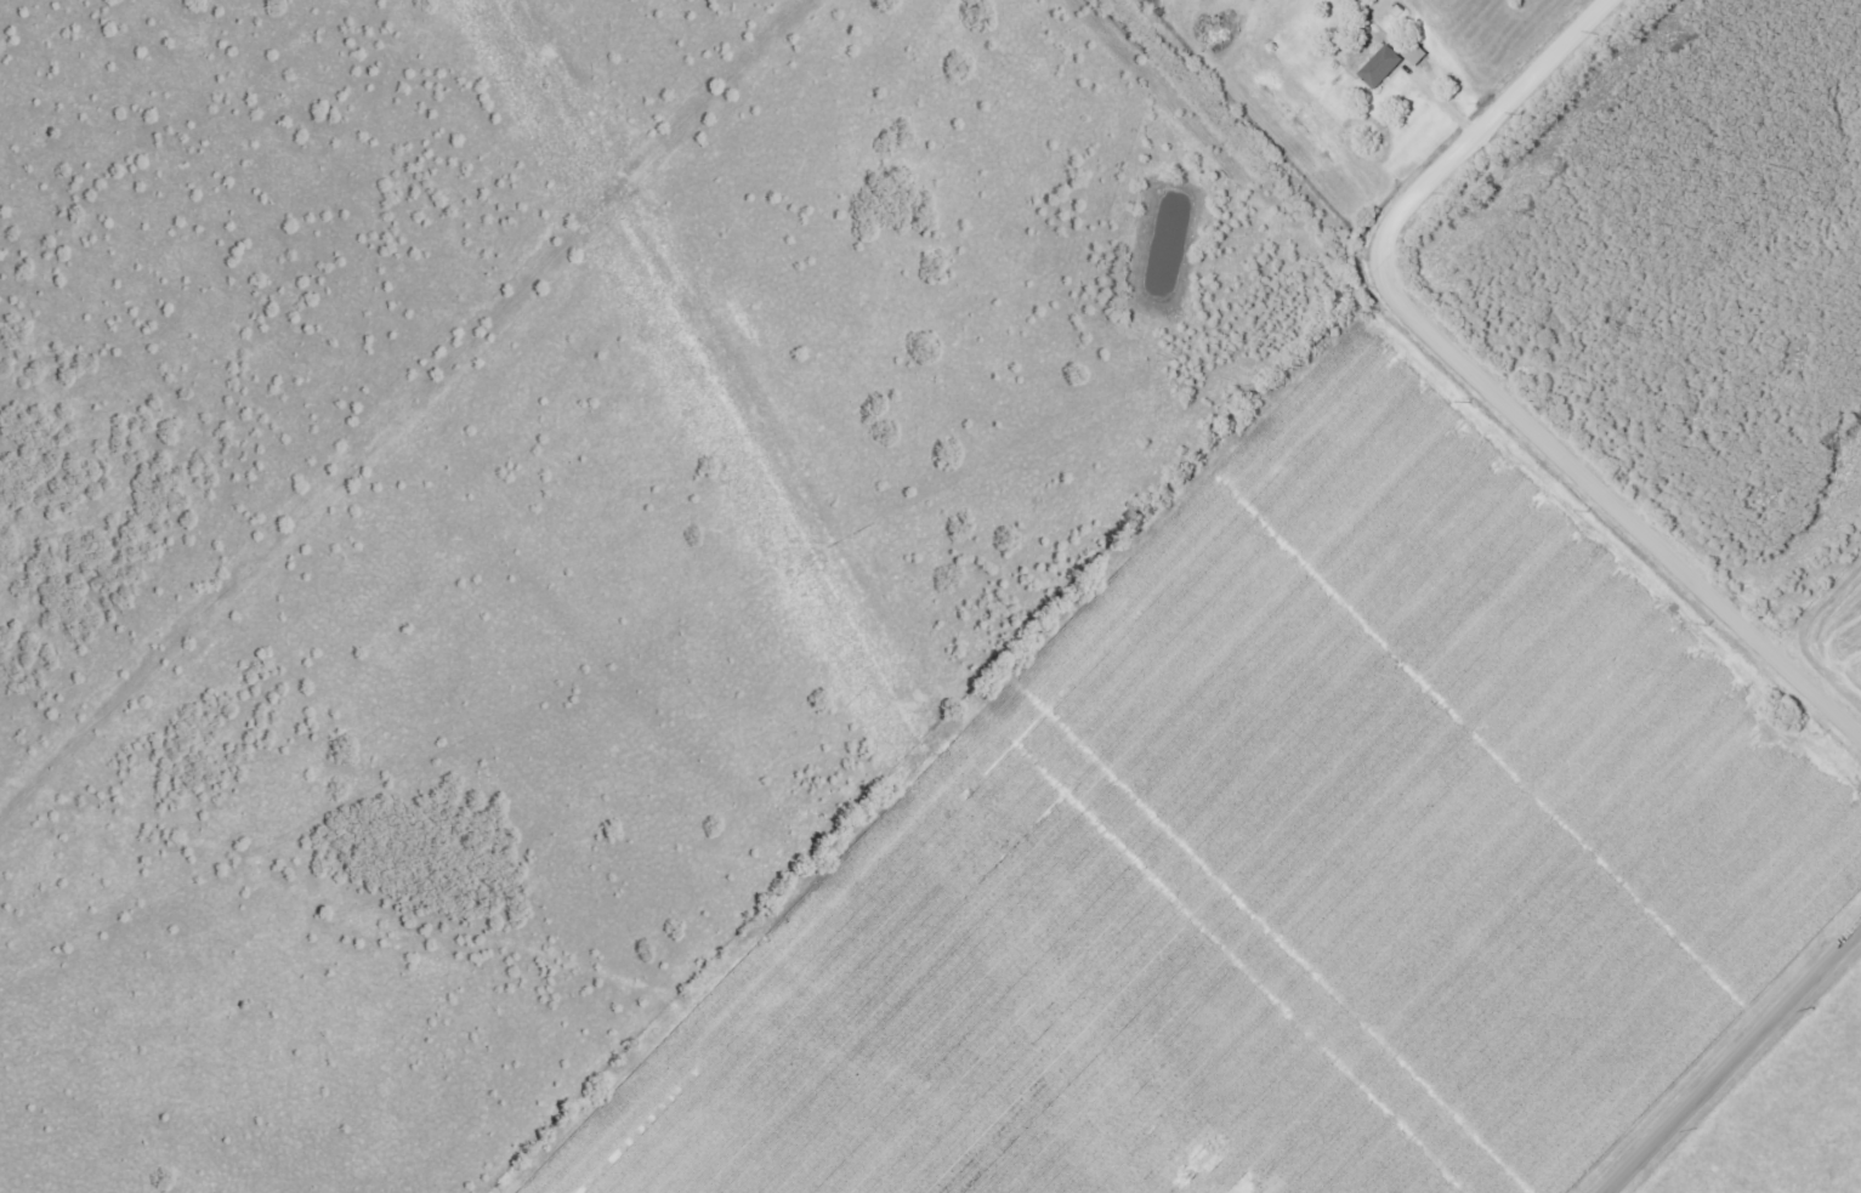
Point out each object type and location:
building: (1375, 66)
road: (1487, 384)
road: (1736, 1062)

